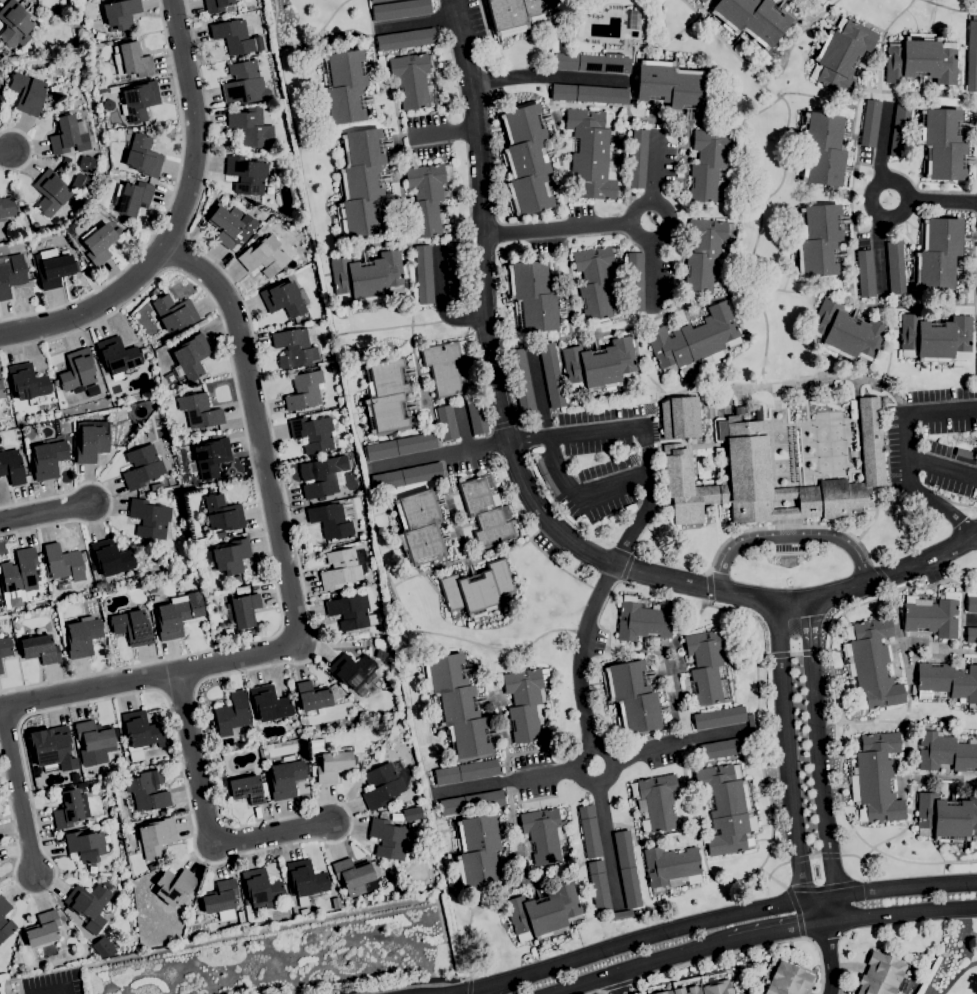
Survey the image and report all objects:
building: (826, 0)
building: (826, 0)
building: (377, 1)
building: (702, 1)
building: (821, 1)
building: (216, 5)
building: (400, 9)
building: (121, 13)
building: (517, 13)
building: (752, 19)
building: (634, 20)
road: (417, 21)
building: (14, 24)
building: (236, 37)
building: (404, 39)
building: (841, 54)
building: (972, 55)
building: (921, 59)
building: (134, 60)
building: (593, 63)
road: (541, 76)
building: (412, 79)
building: (245, 83)
building: (673, 85)
building: (343, 86)
building: (103, 90)
building: (27, 93)
building: (590, 94)
building: (139, 101)
building: (107, 105)
building: (240, 108)
building: (59, 113)
building: (870, 123)
building: (251, 127)
building: (900, 130)
road: (449, 131)
building: (67, 134)
road: (883, 141)
building: (942, 143)
road: (30, 149)
building: (822, 149)
road: (4, 154)
building: (593, 154)
building: (141, 155)
building: (526, 159)
building: (638, 159)
building: (711, 164)
road: (654, 170)
building: (246, 175)
building: (360, 183)
building: (50, 192)
building: (427, 197)
building: (132, 198)
road: (942, 201)
road: (870, 202)
building: (7, 207)
building: (73, 207)
road: (166, 207)
road: (179, 218)
road: (667, 222)
building: (225, 227)
building: (70, 229)
road: (557, 229)
building: (245, 238)
building: (818, 239)
building: (99, 243)
building: (2, 247)
road: (178, 252)
road: (879, 252)
building: (707, 253)
building: (938, 253)
building: (264, 257)
building: (896, 267)
building: (53, 268)
building: (454, 272)
building: (866, 273)
building: (424, 274)
road: (651, 274)
building: (11, 275)
building: (368, 277)
building: (596, 280)
building: (635, 282)
building: (533, 295)
building: (283, 299)
road: (439, 301)
building: (174, 312)
building: (846, 333)
building: (935, 338)
building: (695, 341)
building: (295, 347)
building: (117, 355)
building: (191, 357)
building: (599, 365)
building: (446, 366)
building: (976, 369)
building: (77, 371)
building: (552, 375)
building: (522, 381)
building: (27, 382)
building: (305, 390)
building: (1, 391)
road: (540, 393)
building: (385, 396)
building: (199, 410)
road: (945, 411)
building: (678, 417)
building: (477, 418)
building: (447, 422)
road: (644, 432)
building: (313, 433)
road: (905, 434)
building: (91, 440)
building: (400, 447)
building: (966, 454)
road: (437, 455)
building: (210, 457)
building: (48, 459)
building: (748, 463)
building: (142, 466)
building: (12, 467)
road: (942, 467)
building: (544, 475)
building: (321, 476)
building: (407, 476)
road: (255, 484)
building: (156, 486)
road: (526, 490)
building: (155, 493)
road: (579, 494)
road: (111, 501)
road: (933, 502)
road: (43, 510)
building: (486, 511)
building: (222, 513)
building: (149, 518)
building: (331, 520)
building: (418, 527)
building: (220, 534)
road: (788, 538)
building: (231, 556)
building: (111, 557)
building: (64, 562)
building: (93, 566)
building: (343, 568)
building: (20, 572)
road: (288, 576)
building: (154, 590)
building: (242, 590)
building: (478, 590)
building: (63, 592)
building: (15, 602)
building: (971, 604)
building: (242, 610)
building: (350, 611)
building: (932, 615)
building: (178, 616)
building: (373, 619)
building: (642, 620)
building: (132, 627)
building: (251, 632)
building: (971, 635)
building: (83, 637)
building: (5, 646)
building: (40, 649)
building: (380, 654)
road: (583, 654)
building: (871, 663)
building: (707, 666)
building: (1, 667)
building: (352, 671)
building: (947, 682)
building: (313, 696)
building: (632, 697)
building: (526, 702)
building: (269, 703)
building: (456, 706)
building: (231, 714)
building: (719, 717)
building: (751, 724)
building: (119, 726)
building: (141, 733)
building: (94, 735)
road: (676, 742)
building: (317, 744)
building: (724, 748)
building: (55, 750)
building: (945, 751)
building: (125, 753)
road: (820, 763)
building: (333, 765)
road: (788, 765)
building: (466, 771)
building: (92, 777)
building: (286, 778)
building: (875, 778)
road: (510, 780)
building: (385, 783)
road: (598, 785)
road: (18, 788)
building: (248, 789)
building: (147, 790)
building: (655, 801)
building: (472, 802)
building: (68, 809)
building: (727, 809)
road: (205, 813)
building: (412, 814)
building: (946, 817)
road: (232, 826)
building: (589, 831)
building: (545, 835)
building: (156, 837)
building: (392, 841)
road: (606, 844)
building: (85, 845)
building: (477, 851)
building: (152, 866)
building: (671, 867)
building: (92, 869)
building: (627, 869)
building: (156, 874)
building: (353, 876)
building: (306, 880)
building: (174, 886)
building: (599, 886)
building: (262, 889)
building: (220, 897)
building: (336, 903)
building: (89, 905)
building: (304, 912)
building: (544, 912)
road: (735, 913)
road: (900, 913)
building: (619, 915)
building: (70, 916)
building: (240, 918)
building: (253, 918)
building: (5, 920)
building: (43, 928)
road: (777, 933)
building: (102, 947)
road: (749, 951)
road: (830, 958)
road: (639, 967)
building: (907, 971)
park: (950, 972)
building: (881, 974)
building: (788, 979)
road: (619, 983)
road: (618, 985)
road: (478, 986)
building: (704, 988)
road: (448, 992)
road: (454, 992)
road: (598, 992)

